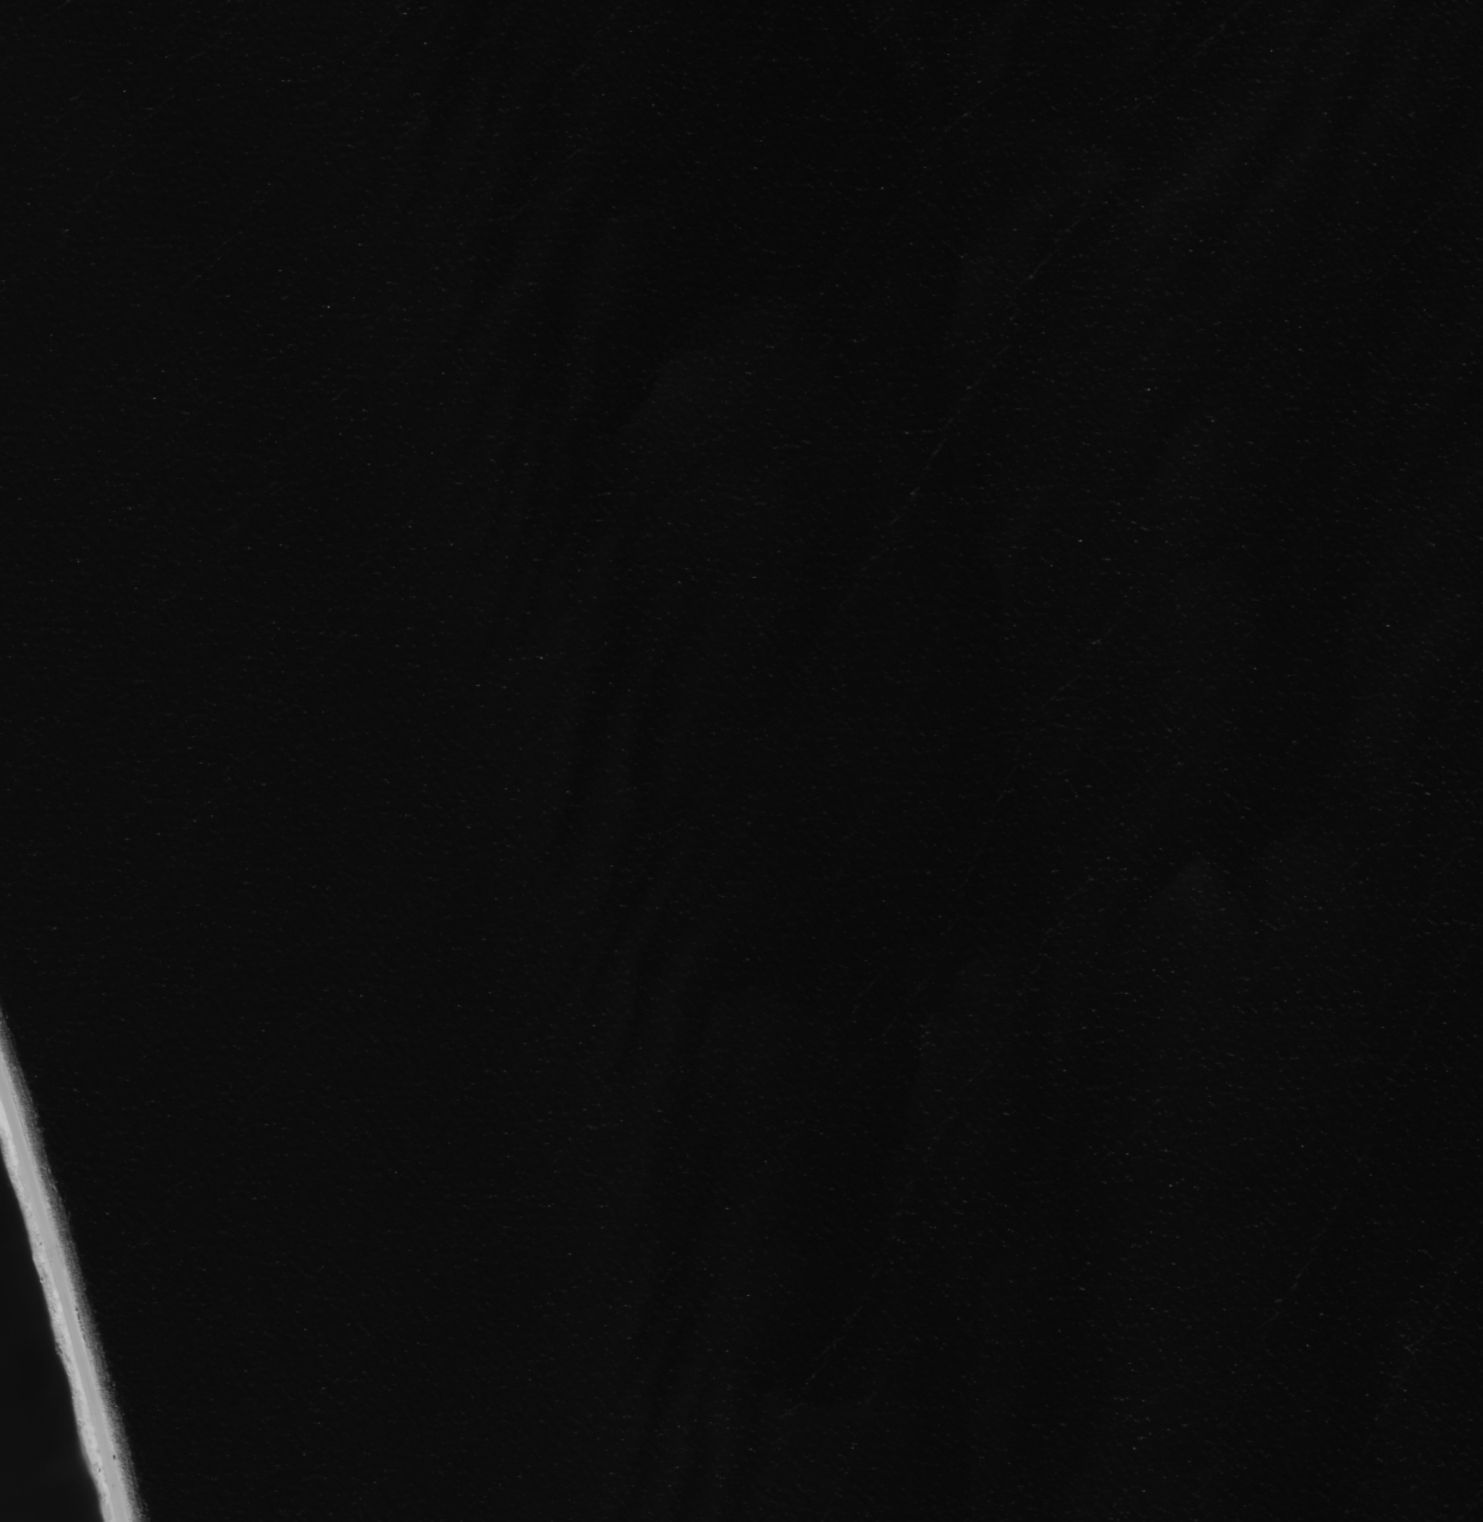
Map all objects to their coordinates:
road: (63, 1296)

